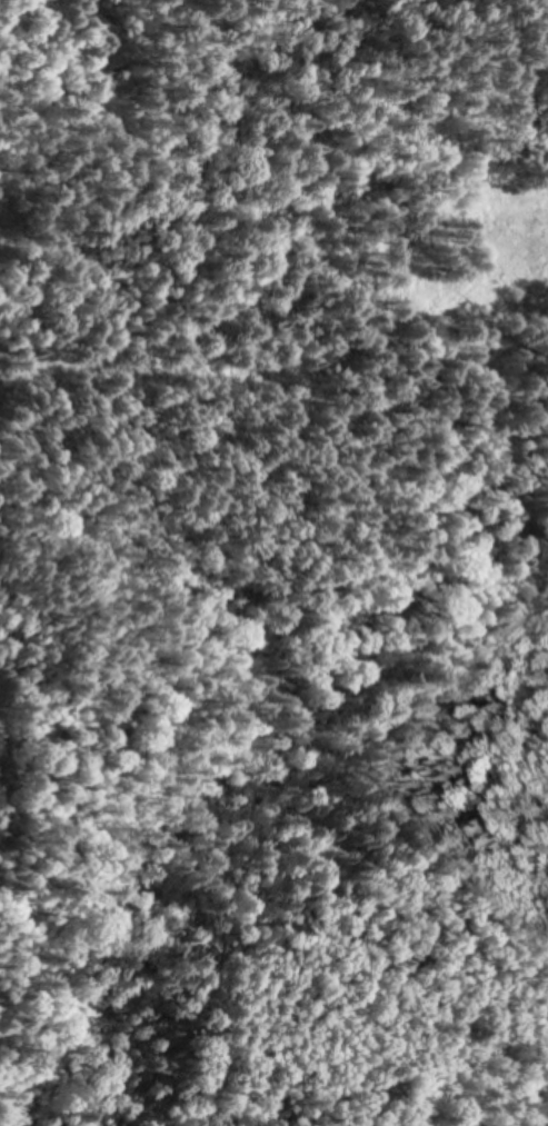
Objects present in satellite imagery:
crop: (3, 286)

